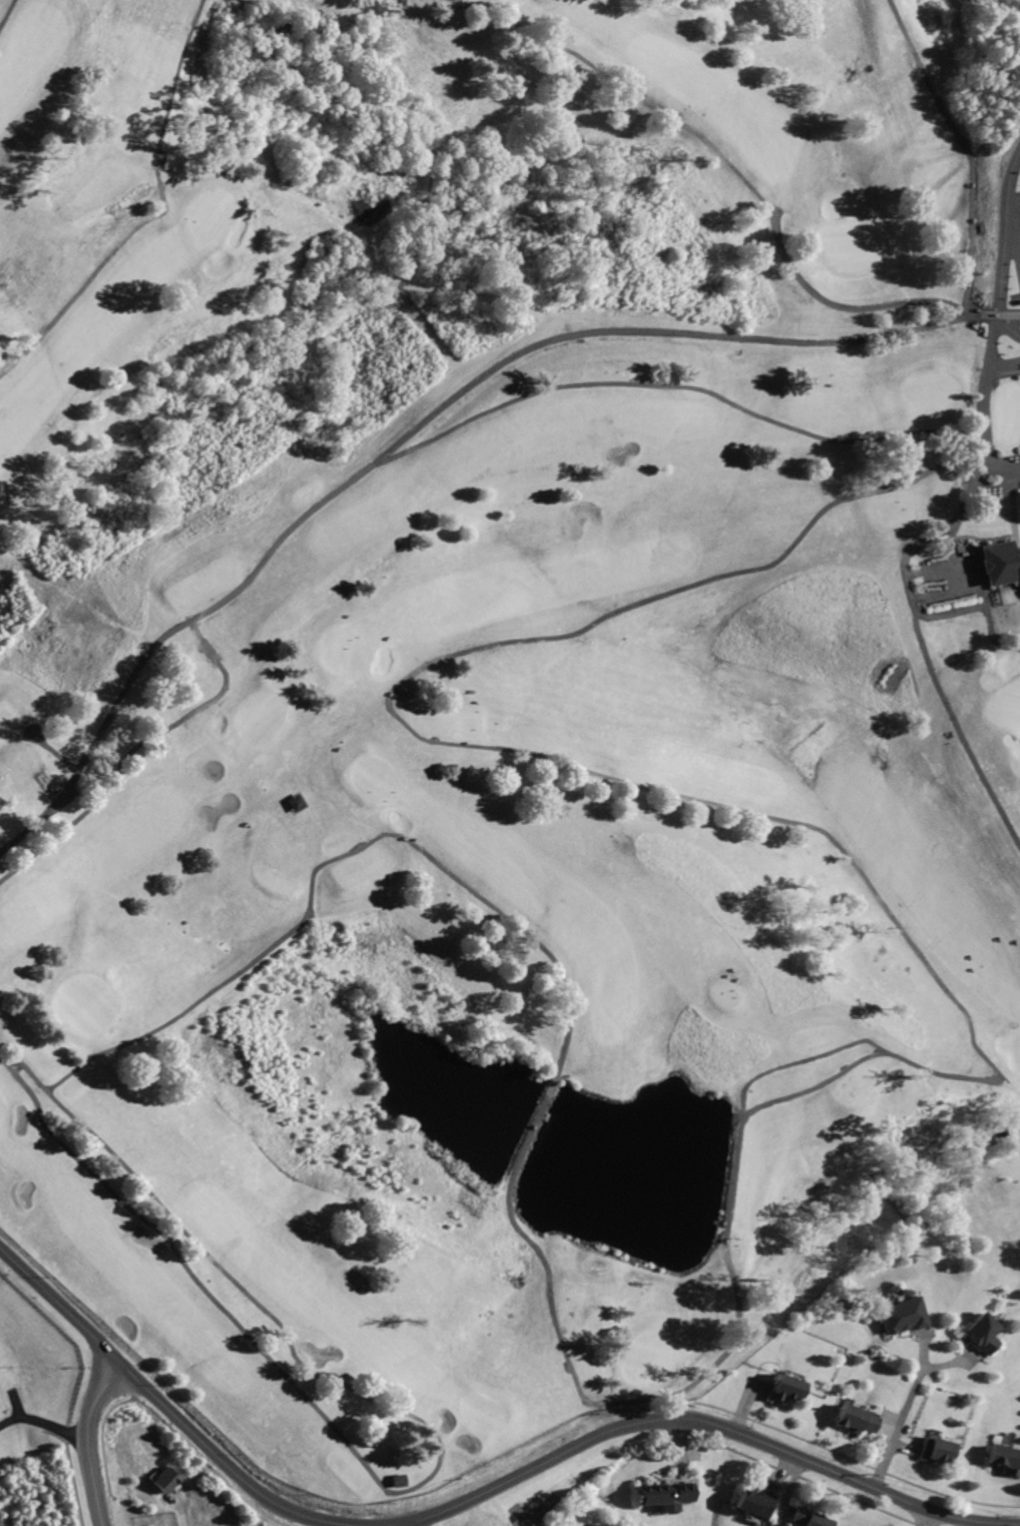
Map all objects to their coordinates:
road: (6, 11)
road: (970, 152)
road: (738, 172)
road: (1008, 182)
park: (213, 211)
road: (156, 214)
road: (1018, 221)
park: (854, 244)
parking lot: (1009, 273)
road: (676, 388)
park: (930, 393)
road: (430, 415)
road: (1003, 463)
road: (981, 475)
road: (1004, 485)
road: (1015, 512)
building: (1002, 564)
road: (983, 605)
road: (196, 632)
park: (342, 650)
building: (209, 653)
park: (497, 696)
park: (1006, 708)
park: (264, 717)
road: (960, 727)
road: (54, 750)
road: (119, 770)
road: (42, 775)
park: (376, 776)
building: (297, 802)
park: (85, 1001)
road: (803, 1061)
road: (808, 1091)
park: (3, 1109)
building: (899, 1315)
building: (981, 1333)
road: (922, 1343)
road: (950, 1362)
building: (783, 1388)
road: (165, 1405)
park: (480, 1410)
building: (855, 1419)
road: (705, 1421)
road: (44, 1423)
road: (899, 1425)
road: (886, 1428)
road: (89, 1439)
building: (1001, 1439)
road: (907, 1447)
building: (934, 1450)
building: (1005, 1458)
building: (168, 1479)
building: (397, 1479)
road: (408, 1489)
building: (665, 1492)
building: (757, 1502)
road: (539, 1512)
road: (927, 1517)
building: (812, 1519)
crop: (948, 1520)
road: (968, 1523)
building: (601, 1524)
road: (407, 1525)

